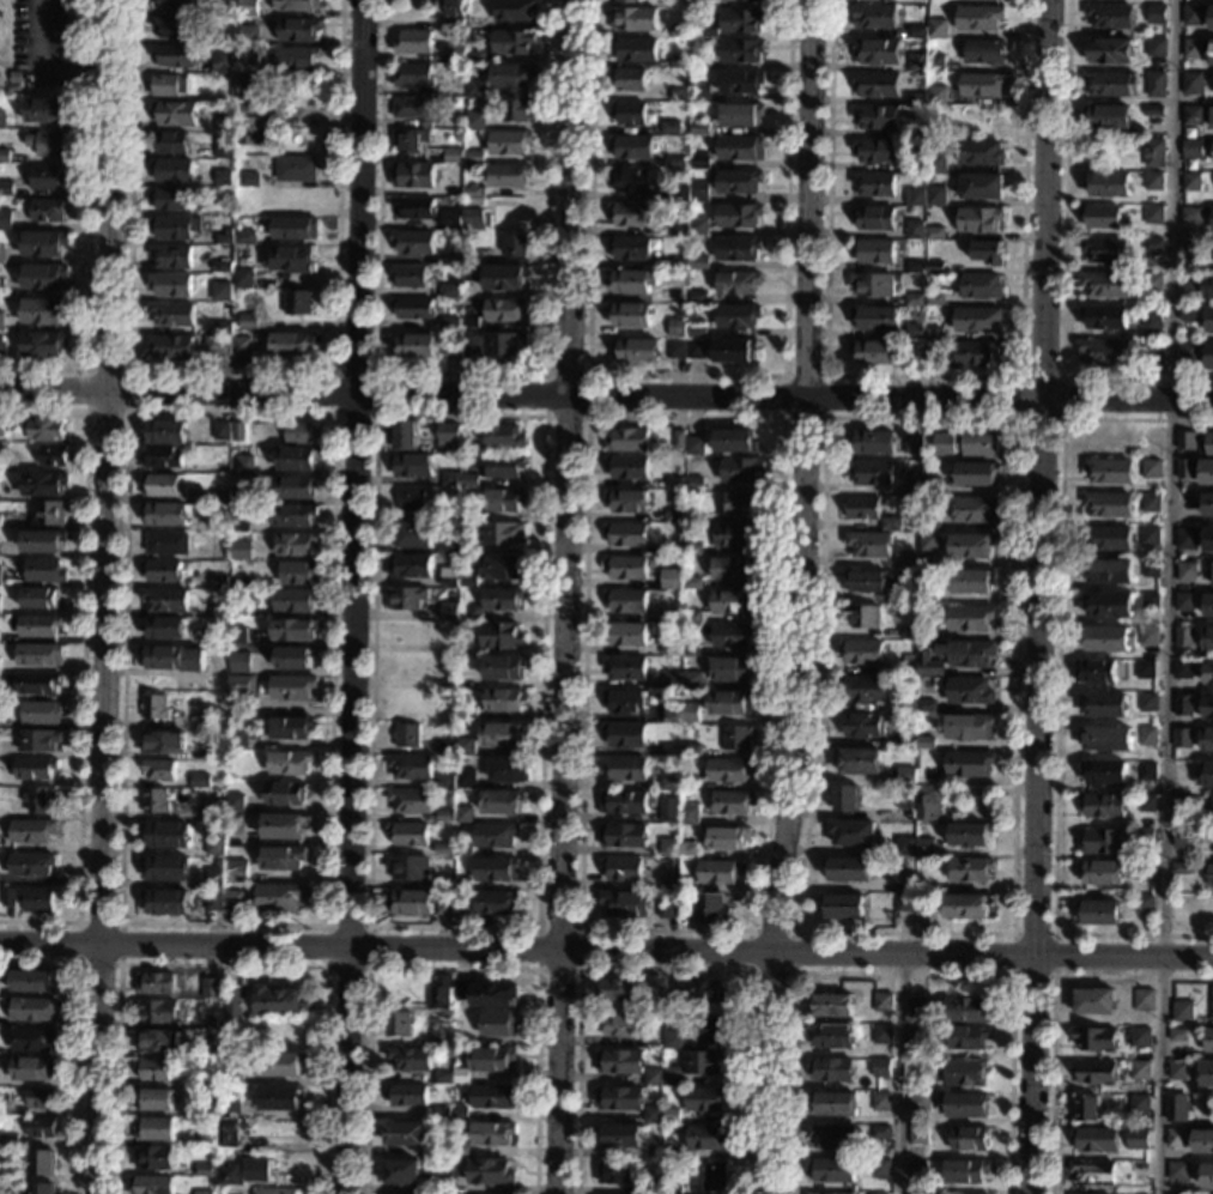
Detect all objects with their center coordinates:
building: (629, 0)
building: (747, 0)
road: (6, 5)
building: (176, 5)
building: (297, 6)
building: (451, 7)
building: (247, 8)
building: (514, 10)
building: (224, 11)
building: (1157, 14)
building: (1109, 16)
building: (1193, 16)
building: (874, 17)
building: (978, 18)
building: (633, 19)
building: (1211, 19)
building: (741, 20)
building: (454, 24)
building: (478, 24)
building: (175, 28)
building: (297, 29)
building: (938, 29)
building: (679, 31)
parking lot: (38, 32)
building: (708, 32)
building: (916, 32)
building: (248, 35)
road: (4, 37)
building: (224, 38)
building: (413, 42)
building: (513, 42)
road: (8, 43)
building: (1157, 48)
building: (635, 49)
building: (1194, 49)
building: (740, 50)
building: (1108, 50)
building: (877, 51)
building: (454, 53)
building: (984, 53)
building: (1211, 53)
building: (247, 55)
building: (174, 56)
building: (296, 57)
building: (475, 57)
building: (679, 61)
building: (222, 62)
building: (916, 62)
building: (935, 62)
road: (4, 63)
road: (48, 65)
building: (513, 75)
building: (413, 77)
building: (14, 78)
building: (210, 79)
building: (630, 79)
building: (739, 80)
building: (1109, 83)
building: (981, 84)
building: (1191, 84)
building: (166, 85)
building: (877, 85)
building: (1156, 85)
building: (250, 86)
building: (474, 87)
building: (455, 90)
building: (699, 93)
building: (678, 95)
building: (936, 96)
building: (916, 98)
building: (457, 102)
building: (412, 108)
building: (46, 110)
building: (247, 110)
building: (517, 110)
building: (959, 110)
building: (1154, 111)
building: (627, 113)
building: (175, 114)
building: (740, 114)
building: (875, 116)
building: (1193, 116)
building: (1106, 117)
building: (1211, 119)
building: (1, 120)
building: (223, 121)
building: (474, 121)
building: (938, 125)
building: (669, 127)
building: (698, 128)
building: (250, 129)
building: (915, 133)
building: (410, 140)
building: (171, 143)
building: (508, 143)
building: (47, 144)
building: (631, 146)
building: (739, 149)
building: (1191, 149)
building: (223, 151)
building: (875, 151)
building: (980, 152)
building: (1153, 153)
building: (4, 156)
building: (453, 156)
building: (474, 157)
building: (934, 160)
building: (673, 162)
building: (698, 163)
building: (915, 166)
building: (295, 169)
building: (172, 171)
building: (413, 175)
building: (507, 175)
building: (47, 178)
building: (223, 178)
building: (248, 180)
building: (633, 180)
building: (738, 181)
building: (1153, 181)
building: (1191, 182)
building: (873, 183)
building: (1108, 183)
building: (981, 186)
building: (6, 189)
building: (698, 190)
building: (473, 192)
building: (678, 193)
building: (935, 195)
building: (914, 196)
building: (170, 199)
building: (250, 201)
building: (473, 202)
building: (413, 207)
building: (47, 211)
building: (229, 211)
building: (630, 213)
building: (1153, 214)
building: (1191, 214)
building: (736, 216)
building: (873, 217)
building: (1102, 217)
building: (5, 219)
building: (475, 219)
building: (978, 219)
building: (1212, 219)
building: (450, 220)
road: (87, 226)
building: (174, 228)
building: (697, 228)
building: (293, 229)
building: (914, 230)
building: (678, 231)
building: (934, 234)
building: (224, 237)
building: (243, 237)
building: (413, 242)
building: (42, 243)
building: (516, 246)
building: (1153, 246)
building: (629, 247)
building: (736, 248)
building: (873, 250)
building: (1105, 250)
building: (987, 251)
building: (1194, 251)
building: (1, 254)
building: (170, 256)
building: (454, 259)
building: (290, 260)
building: (698, 262)
road: (1063, 263)
building: (679, 265)
building: (914, 266)
building: (222, 267)
building: (453, 267)
building: (933, 267)
building: (472, 273)
building: (42, 277)
building: (408, 277)
building: (897, 277)
building: (241, 278)
building: (505, 278)
building: (631, 281)
building: (736, 281)
building: (1153, 283)
building: (1188, 283)
building: (1106, 284)
building: (170, 285)
building: (872, 285)
building: (981, 286)
building: (1208, 286)
building: (1, 287)
building: (448, 290)
building: (220, 291)
building: (678, 296)
building: (697, 297)
building: (933, 298)
building: (714, 301)
building: (914, 301)
building: (298, 303)
building: (413, 309)
building: (504, 310)
building: (41, 311)
building: (171, 314)
building: (630, 315)
building: (736, 316)
building: (1104, 316)
building: (1188, 317)
building: (875, 319)
building: (977, 319)
building: (1152, 320)
building: (1208, 320)
building: (1, 321)
building: (248, 322)
building: (469, 322)
building: (450, 323)
building: (222, 328)
building: (675, 328)
building: (696, 331)
building: (914, 332)
building: (933, 334)
building: (42, 344)
building: (292, 344)
building: (472, 344)
building: (503, 344)
building: (217, 345)
building: (413, 345)
building: (1, 346)
building: (241, 346)
building: (171, 347)
building: (451, 348)
building: (636, 350)
building: (677, 350)
building: (696, 350)
building: (733, 350)
building: (912, 351)
building: (873, 352)
building: (1106, 352)
building: (1187, 352)
building: (932, 353)
building: (974, 354)
building: (1153, 354)
building: (1207, 356)
road: (231, 370)
road: (461, 374)
road: (587, 375)
road: (685, 375)
road: (923, 377)
road: (606, 393)
road: (84, 411)
road: (333, 414)
road: (374, 414)
road: (600, 417)
road: (824, 419)
road: (1062, 422)
building: (0, 428)
building: (44, 429)
building: (220, 430)
building: (237, 431)
building: (164, 432)
building: (298, 432)
building: (448, 432)
building: (466, 434)
road: (823, 434)
building: (406, 435)
building: (503, 436)
building: (629, 440)
building: (678, 440)
building: (1185, 441)
building: (735, 442)
building: (872, 442)
building: (911, 444)
building: (966, 444)
building: (695, 446)
building: (1206, 446)
building: (51, 455)
building: (160, 457)
building: (297, 457)
building: (244, 465)
building: (412, 466)
building: (503, 466)
building: (627, 467)
building: (222, 468)
building: (1150, 468)
building: (741, 469)
building: (1185, 469)
building: (1109, 472)
building: (1206, 472)
building: (871, 473)
building: (976, 474)
building: (449, 479)
building: (469, 481)
building: (674, 483)
building: (693, 483)
building: (42, 484)
building: (162, 485)
building: (930, 486)
building: (0, 487)
building: (295, 487)
building: (911, 489)
building: (239, 495)
building: (220, 497)
building: (412, 498)
building: (503, 499)
building: (627, 501)
building: (740, 503)
building: (1150, 503)
building: (1108, 504)
building: (1207, 504)
building: (862, 509)
building: (975, 510)
building: (448, 513)
building: (469, 513)
building: (48, 514)
building: (164, 514)
building: (293, 515)
building: (674, 516)
building: (219, 522)
building: (238, 523)
building: (929, 523)
building: (891, 525)
building: (501, 533)
building: (626, 534)
building: (734, 534)
building: (412, 535)
building: (1150, 535)
building: (1108, 538)
building: (1187, 539)
building: (1207, 539)
building: (42, 540)
building: (166, 544)
building: (295, 544)
building: (869, 544)
building: (928, 544)
building: (448, 545)
building: (971, 547)
building: (467, 548)
building: (673, 550)
building: (692, 550)
building: (219, 551)
building: (241, 551)
building: (906, 559)
building: (223, 564)
building: (410, 565)
building: (502, 566)
building: (626, 566)
building: (733, 568)
building: (1150, 569)
building: (162, 570)
building: (44, 571)
building: (1109, 571)
building: (297, 572)
building: (1185, 572)
building: (448, 577)
building: (1212, 578)
building: (0, 580)
building: (468, 580)
building: (869, 581)
building: (971, 581)
building: (672, 582)
building: (692, 582)
building: (218, 583)
building: (238, 583)
building: (909, 594)
building: (929, 594)
road: (103, 596)
road: (352, 596)
road: (564, 596)
road: (1041, 596)
road: (1167, 596)
building: (406, 598)
road: (806, 598)
building: (38, 599)
building: (502, 599)
building: (164, 600)
building: (293, 600)
building: (626, 600)
building: (732, 601)
building: (1150, 601)
building: (1184, 602)
building: (1109, 604)
building: (1207, 605)
building: (219, 608)
building: (237, 611)
building: (449, 611)
building: (475, 612)
building: (863, 616)
building: (463, 617)
building: (671, 617)
building: (692, 617)
building: (971, 618)
building: (38, 625)
building: (163, 629)
building: (293, 630)
building: (929, 632)
building: (625, 634)
building: (909, 634)
building: (237, 635)
building: (733, 635)
building: (214, 636)
building: (499, 636)
building: (1148, 637)
building: (1184, 637)
building: (1108, 638)
building: (1207, 638)
building: (671, 644)
building: (460, 650)
building: (690, 650)
building: (862, 651)
building: (38, 654)
building: (972, 654)
building: (170, 657)
building: (297, 659)
road: (80, 662)
building: (239, 662)
building: (908, 666)
building: (929, 666)
building: (504, 667)
building: (624, 667)
building: (1183, 668)
building: (730, 669)
building: (1146, 669)
building: (1096, 671)
building: (1207, 673)
building: (691, 680)
building: (672, 681)
road: (1057, 681)
building: (37, 684)
building: (242, 686)
building: (291, 687)
building: (865, 689)
building: (971, 691)
building: (504, 699)
building: (625, 701)
building: (1147, 702)
building: (729, 703)
building: (1105, 705)
building: (1184, 705)
building: (154, 707)
building: (909, 707)
building: (928, 707)
building: (1207, 707)
building: (239, 710)
building: (41, 713)
building: (466, 713)
building: (690, 713)
building: (671, 715)
building: (213, 721)
building: (865, 726)
building: (968, 727)
building: (290, 728)
building: (502, 734)
building: (624, 734)
building: (406, 735)
building: (1147, 735)
building: (237, 738)
building: (736, 738)
building: (1182, 738)
building: (906, 739)
building: (1108, 739)
building: (1206, 739)
building: (37, 740)
building: (162, 743)
building: (927, 743)
building: (465, 747)
building: (445, 748)
building: (669, 750)
building: (691, 750)
building: (216, 751)
building: (442, 759)
building: (859, 760)
building: (290, 763)
building: (970, 764)
building: (411, 766)
building: (35, 769)
building: (508, 769)
building: (625, 769)
building: (159, 770)
building: (728, 770)
building: (1147, 771)
building: (1181, 771)
building: (1105, 772)
building: (1205, 775)
building: (906, 776)
building: (466, 780)
building: (200, 781)
building: (447, 783)
building: (669, 784)
building: (284, 794)
building: (904, 798)
building: (847, 799)
building: (40, 800)
building: (156, 801)
building: (411, 801)
building: (503, 801)
building: (624, 802)
building: (732, 802)
building: (235, 804)
building: (1147, 804)
building: (1184, 804)
building: (928, 805)
building: (1104, 806)
building: (1211, 807)
building: (668, 810)
building: (213, 814)
building: (463, 814)
building: (906, 814)
building: (444, 816)
building: (687, 816)
building: (233, 823)
building: (286, 826)
building: (32, 831)
building: (854, 832)
building: (408, 834)
building: (970, 834)
building: (166, 835)
building: (496, 835)
building: (1145, 835)
building: (624, 836)
building: (727, 838)
building: (1184, 838)
building: (1100, 842)
building: (904, 846)
building: (214, 847)
building: (668, 848)
building: (924, 848)
building: (690, 849)
building: (443, 850)
building: (462, 850)
building: (281, 859)
building: (31, 865)
building: (408, 867)
building: (1181, 867)
building: (166, 868)
building: (621, 868)
building: (496, 869)
building: (848, 869)
building: (971, 869)
building: (1145, 871)
building: (718, 872)
building: (1103, 872)
building: (233, 875)
building: (1211, 875)
building: (213, 878)
building: (463, 883)
building: (904, 883)
building: (444, 884)
building: (668, 885)
building: (687, 885)
building: (923, 889)
building: (7, 897)
building: (279, 897)
building: (35, 899)
building: (213, 901)
building: (233, 901)
building: (683, 901)
building: (166, 902)
building: (410, 902)
building: (495, 902)
building: (904, 903)
building: (926, 903)
building: (626, 904)
building: (1144, 904)
building: (444, 905)
building: (459, 905)
building: (969, 905)
building: (843, 907)
building: (667, 908)
building: (711, 909)
building: (1100, 911)
road: (326, 926)
road: (49, 941)
road: (656, 950)
road: (117, 965)
road: (219, 965)
road: (365, 968)
road: (450, 968)
road: (536, 970)
road: (662, 971)
road: (748, 972)
road: (898, 972)
road: (1012, 976)
building: (34, 982)
building: (156, 983)
building: (211, 988)
building: (623, 989)
building: (462, 990)
building: (441, 992)
building: (704, 992)
building: (493, 994)
building: (233, 1000)
building: (1144, 1000)
building: (278, 1001)
building: (669, 1001)
building: (1094, 1001)
building: (883, 1002)
building: (656, 1004)
road: (1051, 1005)
building: (831, 1006)
building: (917, 1007)
building: (34, 1010)
building: (158, 1011)
building: (965, 1011)
building: (1183, 1011)
building: (1212, 1011)
building: (212, 1024)
building: (400, 1024)
building: (498, 1024)
building: (621, 1025)
building: (709, 1029)
building: (881, 1035)
building: (1178, 1035)
building: (442, 1036)
building: (832, 1036)
building: (920, 1036)
building: (968, 1037)
building: (1140, 1037)
building: (32, 1040)
building: (674, 1040)
building: (1097, 1040)
road: (74, 1041)
building: (157, 1041)
building: (460, 1041)
building: (1208, 1041)
building: (206, 1045)
building: (410, 1059)
building: (492, 1060)
building: (620, 1062)
building: (704, 1062)
building: (283, 1063)
building: (917, 1067)
building: (880, 1068)
building: (32, 1069)
building: (832, 1069)
building: (1141, 1069)
building: (154, 1071)
building: (1178, 1071)
road: (897, 1072)
building: (1096, 1072)
building: (962, 1073)
building: (442, 1074)
building: (1207, 1074)
building: (232, 1075)
building: (461, 1075)
building: (673, 1077)
building: (654, 1078)
building: (407, 1095)
building: (41, 1097)
building: (493, 1097)
building: (280, 1098)
building: (156, 1099)
building: (619, 1099)
building: (705, 1099)
building: (918, 1101)
building: (880, 1102)
building: (833, 1104)
building: (1139, 1104)
building: (4, 1105)
building: (964, 1105)
building: (1087, 1108)
building: (1177, 1108)
building: (231, 1109)
building: (441, 1113)
building: (651, 1114)
building: (459, 1115)
building: (671, 1115)
building: (40, 1127)
building: (153, 1129)
building: (880, 1132)
building: (230, 1134)
building: (405, 1134)
building: (491, 1134)
building: (918, 1135)
building: (620, 1137)
building: (832, 1137)
building: (1139, 1138)
building: (1177, 1138)
building: (706, 1139)
building: (969, 1139)
building: (1096, 1139)
building: (204, 1140)
building: (8, 1141)
building: (1203, 1141)
building: (459, 1148)
building: (441, 1150)
building: (671, 1153)
building: (154, 1158)
building: (42, 1163)
building: (1140, 1166)
building: (457, 1168)
building: (429, 1169)
building: (880, 1169)
building: (205, 1170)
building: (831, 1170)
building: (916, 1170)
building: (244, 1171)
building: (614, 1171)
building: (964, 1171)
building: (1178, 1171)
building: (401, 1172)
building: (490, 1172)
building: (1093, 1172)
building: (1207, 1176)
building: (715, 1177)
building: (151, 1184)
building: (6, 1187)
building: (671, 1188)
building: (41, 1189)
building: (275, 1190)
building: (651, 1190)
building: (202, 1192)
building: (821, 1193)
building: (879, 1193)
building: (916, 1193)
building: (962, 1193)
building: (1082, 1193)

